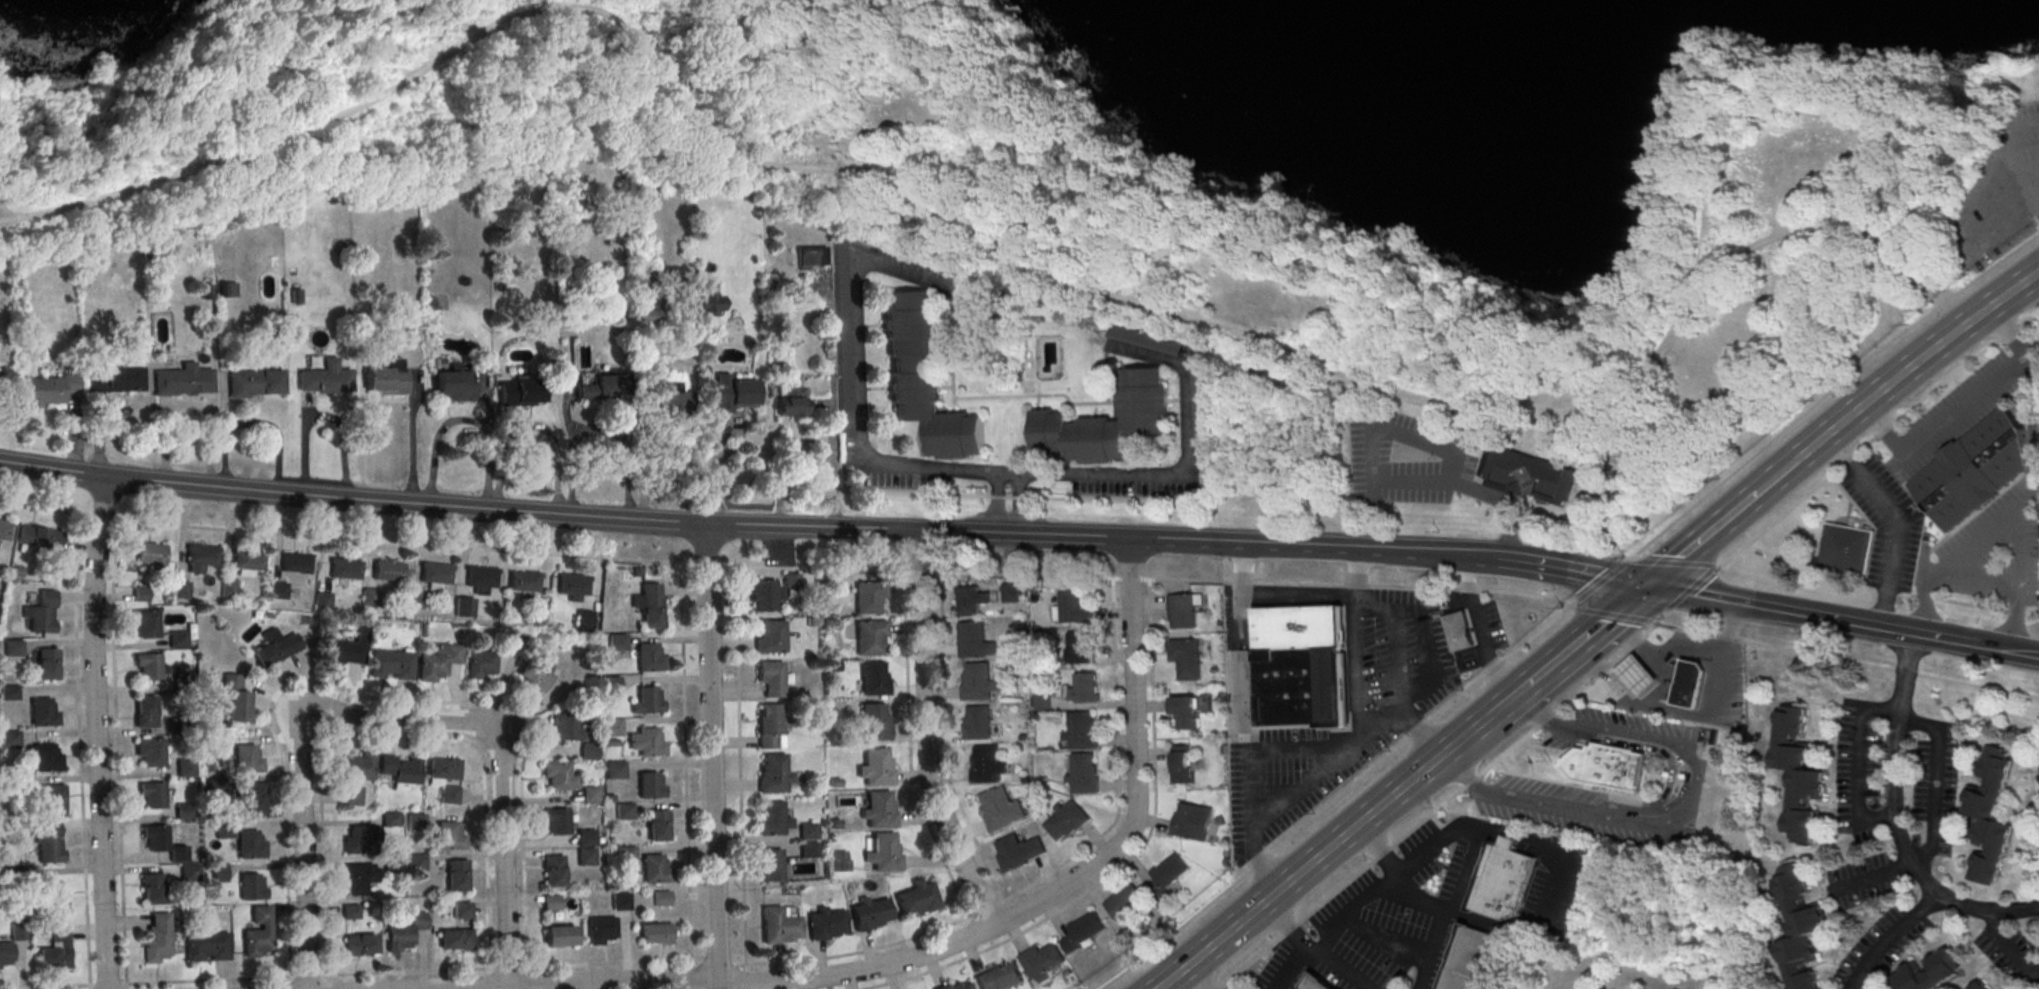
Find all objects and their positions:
road: (648, 14)
road: (768, 18)
road: (779, 21)
road: (803, 27)
road: (662, 46)
road: (380, 66)
road: (566, 71)
road: (197, 73)
road: (1710, 79)
road: (1729, 79)
road: (933, 80)
road: (1056, 86)
road: (892, 87)
road: (218, 88)
road: (1721, 104)
road: (745, 107)
road: (1777, 112)
road: (1038, 126)
park: (1178, 166)
road: (987, 170)
road: (1086, 172)
road: (45, 174)
parking lot: (2001, 194)
road: (1003, 198)
road: (1149, 211)
road: (11, 212)
road: (970, 220)
road: (982, 220)
road: (1308, 240)
road: (1034, 249)
road: (1264, 255)
building: (812, 256)
road: (1992, 269)
road: (1062, 272)
road: (1953, 279)
road: (1274, 283)
building: (227, 288)
building: (206, 290)
road: (2000, 298)
road: (1949, 308)
building: (646, 316)
road: (1425, 317)
building: (1144, 339)
building: (325, 379)
building: (925, 379)
building: (387, 380)
building: (115, 381)
building: (184, 382)
building: (255, 384)
building: (454, 387)
building: (601, 389)
building: (50, 391)
road: (1879, 391)
building: (523, 395)
building: (734, 396)
building: (672, 400)
road: (188, 405)
building: (791, 405)
road: (224, 406)
road: (306, 406)
road: (165, 410)
road: (324, 416)
road: (1223, 416)
road: (862, 421)
road: (253, 422)
building: (1107, 423)
road: (497, 424)
road: (1941, 425)
road: (598, 429)
road: (1372, 430)
road: (73, 433)
road: (98, 435)
road: (412, 440)
parking lot: (1407, 460)
road: (489, 467)
road: (503, 467)
road: (1179, 468)
road: (712, 469)
road: (1838, 470)
building: (1973, 471)
road: (1777, 475)
building: (1526, 476)
road: (1470, 488)
road: (2031, 488)
road: (1017, 496)
road: (563, 514)
road: (1896, 520)
building: (5, 532)
road: (1700, 538)
building: (40, 540)
road: (1312, 546)
building: (1846, 550)
building: (151, 557)
building: (201, 557)
building: (248, 562)
building: (294, 564)
building: (345, 571)
road: (1569, 571)
building: (388, 573)
building: (436, 575)
road: (1979, 575)
road: (1023, 576)
building: (481, 578)
road: (2018, 581)
building: (524, 583)
building: (572, 585)
traffic signals: (1644, 585)
building: (227, 588)
building: (180, 589)
building: (276, 590)
building: (772, 592)
building: (1011, 593)
building: (140, 594)
building: (370, 599)
building: (869, 599)
road: (1299, 599)
building: (322, 602)
building: (414, 602)
building: (972, 602)
building: (648, 604)
building: (1072, 607)
building: (463, 608)
road: (1776, 610)
building: (41, 612)
building: (1182, 612)
building: (583, 621)
building: (143, 623)
road: (1479, 628)
road: (1587, 632)
building: (1460, 633)
road: (1422, 635)
building: (176, 638)
building: (769, 638)
road: (1942, 638)
building: (515, 639)
building: (870, 639)
building: (616, 641)
building: (975, 643)
road: (1637, 644)
building: (275, 646)
road: (1521, 646)
building: (12, 647)
building: (1079, 647)
building: (345, 649)
road: (2006, 650)
road: (1621, 658)
building: (648, 659)
building: (1185, 659)
building: (1700, 659)
building: (478, 665)
building: (47, 666)
building: (146, 666)
building: (388, 666)
building: (431, 666)
building: (1302, 668)
road: (1603, 674)
building: (532, 676)
building: (1638, 678)
building: (769, 679)
building: (873, 681)
road: (1362, 681)
building: (979, 683)
building: (1690, 686)
building: (1083, 687)
building: (233, 697)
road: (1509, 697)
road: (1573, 699)
building: (647, 702)
building: (144, 714)
road: (1685, 714)
building: (43, 715)
building: (1184, 715)
road: (397, 718)
road: (1239, 720)
building: (978, 724)
building: (873, 725)
building: (770, 726)
building: (565, 727)
road: (96, 732)
building: (1081, 733)
road: (925, 736)
building: (9, 738)
road: (946, 743)
building: (649, 745)
road: (1517, 746)
road: (79, 751)
building: (587, 751)
road: (114, 753)
building: (149, 753)
road: (710, 756)
building: (247, 758)
building: (46, 760)
road: (1858, 760)
building: (2038, 761)
building: (1181, 763)
road: (684, 764)
building: (1608, 765)
road: (739, 766)
building: (185, 767)
building: (987, 767)
building: (357, 768)
building: (614, 769)
building: (877, 769)
road: (910, 769)
building: (441, 771)
road: (1118, 771)
road: (1317, 771)
building: (398, 772)
building: (772, 775)
building: (2037, 775)
building: (557, 776)
building: (1083, 776)
building: (1797, 777)
road: (1935, 780)
road: (1472, 784)
building: (650, 787)
building: (589, 794)
building: (151, 796)
building: (253, 797)
building: (51, 801)
building: (1000, 810)
building: (182, 811)
building: (624, 811)
building: (880, 811)
road: (1677, 816)
building: (1990, 816)
building: (388, 818)
building: (1066, 819)
building: (555, 821)
building: (771, 821)
road: (1428, 821)
building: (414, 822)
road: (1895, 822)
building: (1193, 823)
road: (1465, 823)
building: (658, 825)
building: (224, 829)
building: (808, 832)
building: (449, 835)
building: (356, 838)
road: (1531, 841)
building: (250, 843)
building: (161, 844)
building: (47, 845)
building: (586, 847)
road: (303, 849)
road: (1377, 850)
building: (810, 851)
road: (1323, 852)
building: (626, 853)
building: (1018, 853)
building: (884, 855)
road: (500, 856)
road: (1383, 858)
building: (840, 860)
road: (1127, 861)
building: (415, 862)
building: (392, 863)
building: (771, 867)
building: (553, 870)
building: (655, 871)
building: (1168, 873)
building: (189, 874)
building: (456, 875)
road: (1871, 875)
building: (357, 877)
building: (1503, 880)
building: (251, 885)
building: (151, 891)
road: (1560, 893)
road: (1337, 895)
building: (51, 897)
building: (662, 898)
road: (1420, 898)
building: (620, 900)
building: (917, 900)
building: (1125, 900)
building: (550, 902)
road: (1358, 908)
building: (462, 909)
road: (1453, 909)
building: (350, 910)
building: (870, 916)
road: (1285, 925)
road: (1495, 925)
building: (827, 926)
building: (601, 928)
building: (779, 928)
building: (1798, 928)
building: (17, 931)
building: (405, 931)
building: (1084, 931)
road: (1291, 931)
building: (257, 932)
building: (656, 933)
building: (559, 935)
road: (1888, 935)
building: (455, 939)
building: (156, 941)
road: (1386, 942)
road: (954, 943)
building: (359, 944)
road: (2008, 947)
building: (206, 948)
building: (56, 951)
road: (859, 952)
building: (6, 955)
building: (1472, 959)
building: (1043, 961)
road: (1253, 964)
road: (730, 965)
road: (1333, 970)
road: (363, 974)
road: (691, 974)
building: (1930, 974)
building: (1000, 977)
road: (1192, 979)
building: (1316, 984)
building: (1979, 986)
building: (958, 987)

